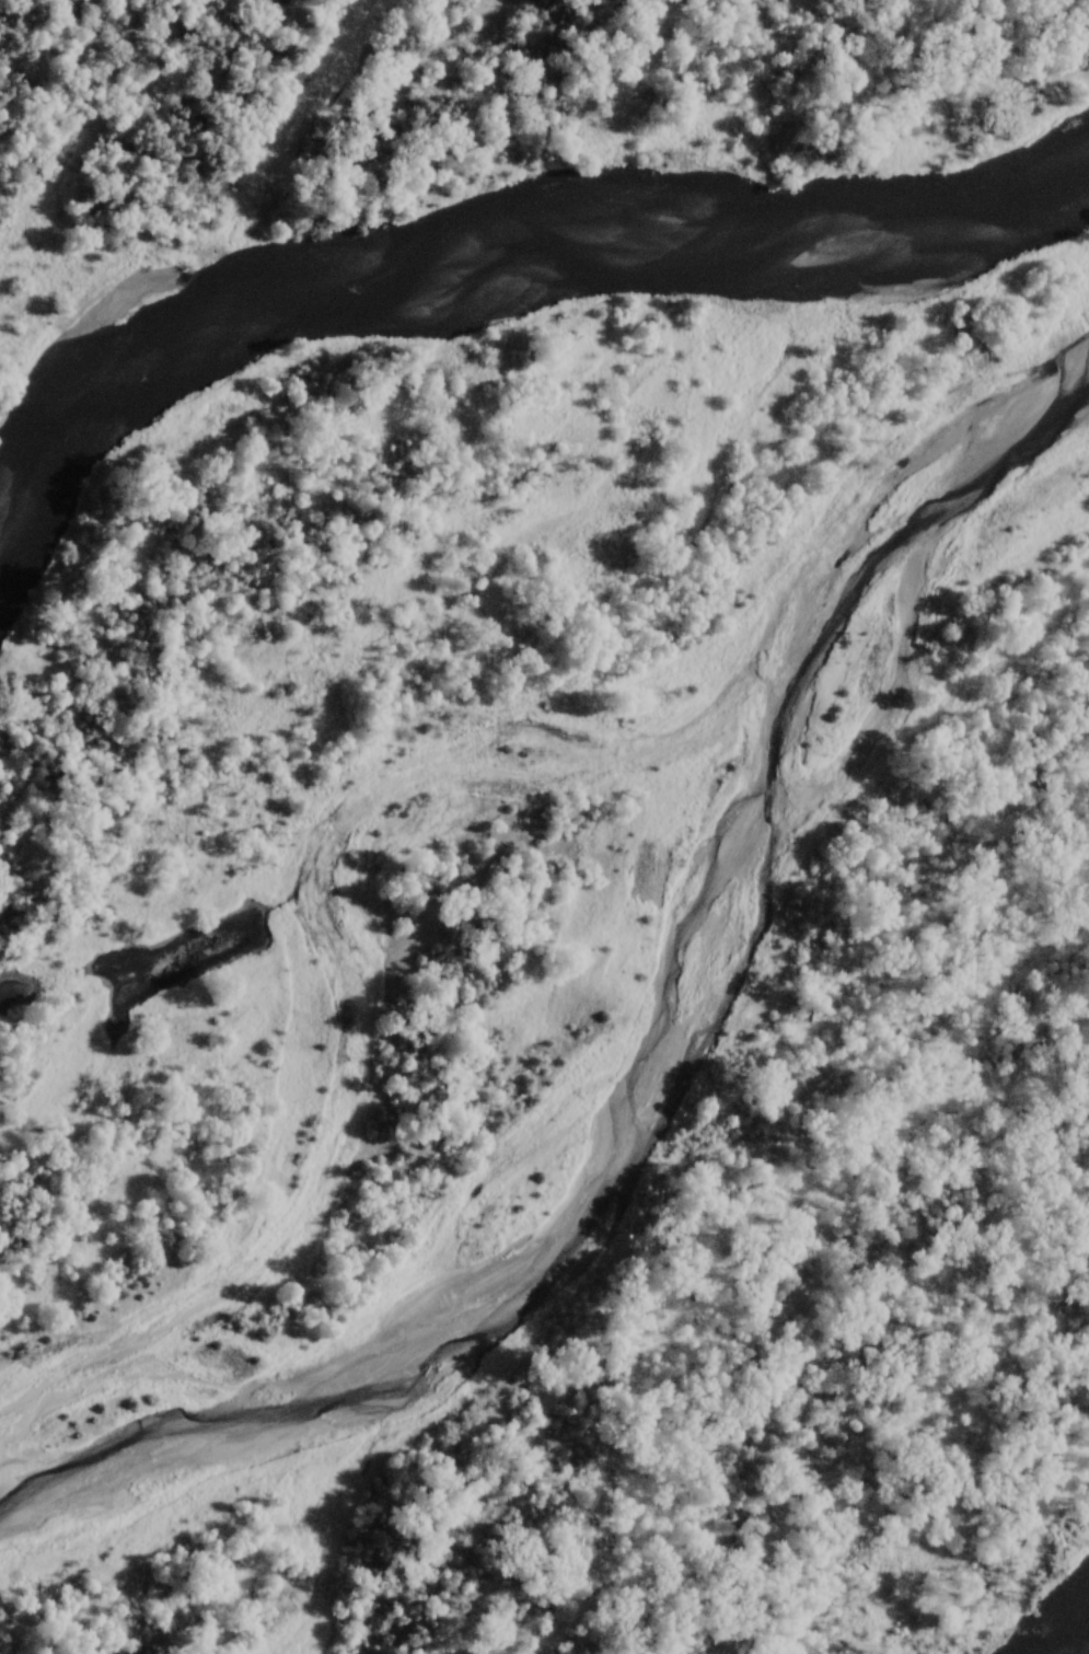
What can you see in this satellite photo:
building: (1026, 776)

